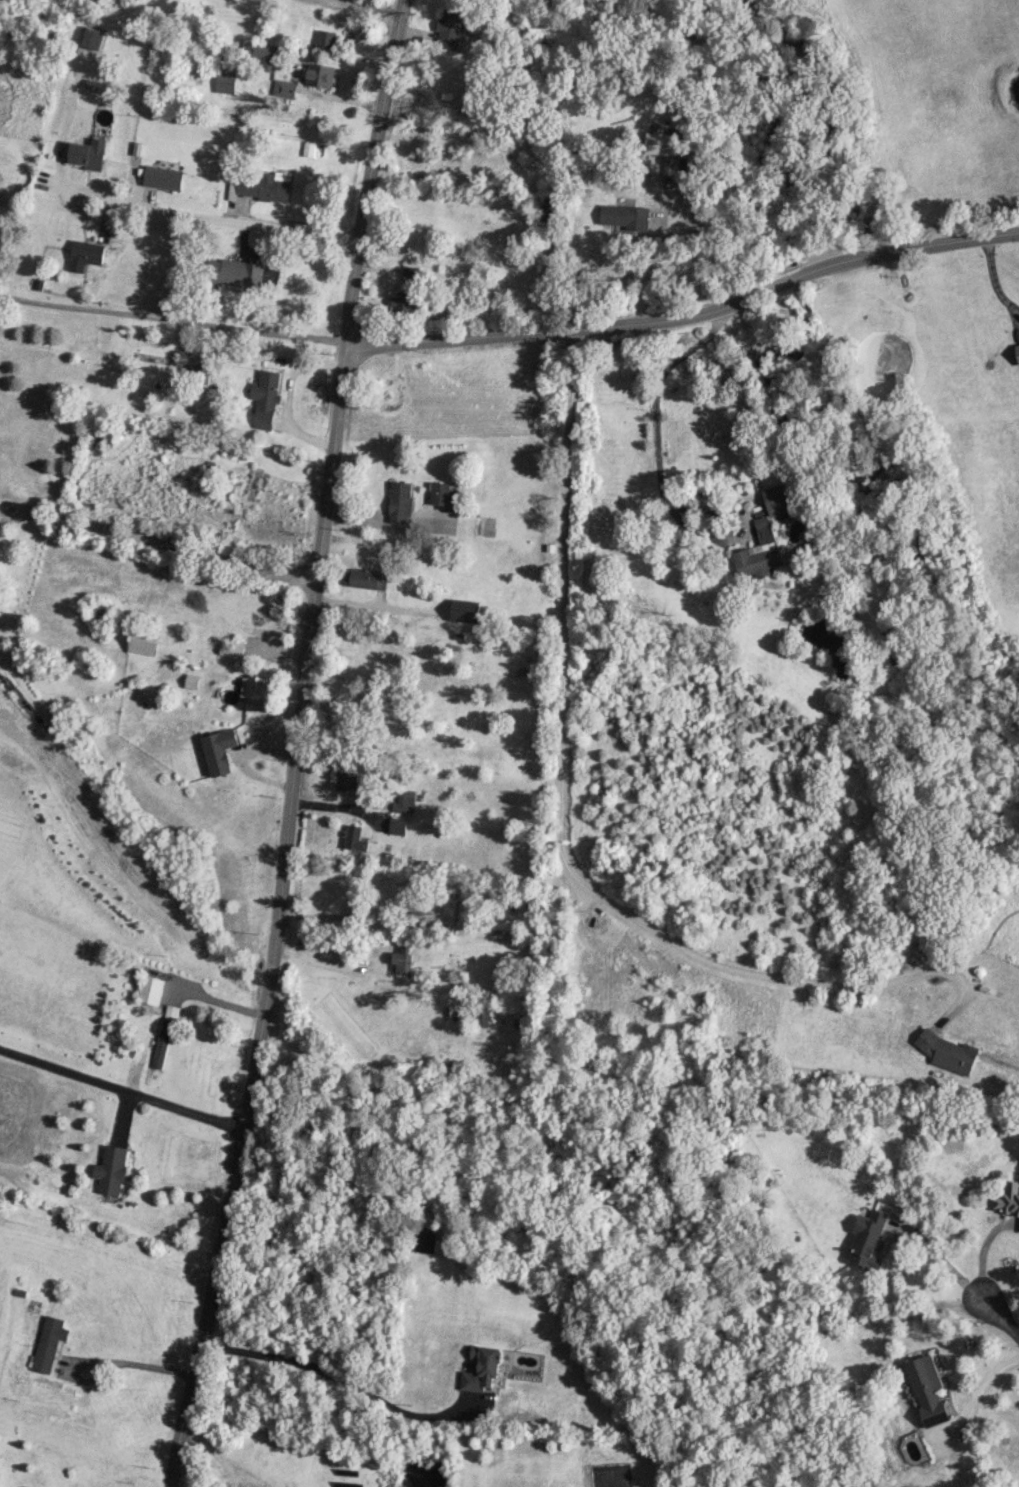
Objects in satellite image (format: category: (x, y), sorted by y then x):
building: (449, 29)
building: (94, 38)
building: (325, 38)
building: (263, 54)
building: (319, 75)
building: (226, 77)
building: (283, 88)
road: (70, 122)
building: (662, 143)
building: (89, 154)
building: (163, 178)
building: (261, 186)
road: (175, 214)
building: (624, 217)
building: (86, 255)
road: (652, 269)
building: (236, 272)
road: (995, 282)
road: (514, 335)
building: (1017, 350)
road: (286, 395)
building: (264, 398)
road: (656, 427)
building: (442, 496)
building: (778, 499)
building: (400, 500)
road: (158, 542)
building: (758, 556)
building: (365, 578)
building: (464, 610)
building: (143, 643)
building: (233, 648)
building: (192, 681)
building: (254, 689)
road: (297, 745)
building: (219, 751)
building: (346, 781)
building: (403, 801)
road: (556, 819)
building: (396, 826)
building: (354, 839)
building: (465, 906)
road: (362, 914)
road: (320, 960)
building: (401, 960)
building: (149, 990)
road: (215, 1000)
building: (162, 1037)
building: (947, 1052)
road: (120, 1087)
building: (110, 1169)
building: (1008, 1199)
building: (865, 1239)
building: (425, 1240)
road: (983, 1254)
road: (946, 1267)
road: (1003, 1322)
building: (48, 1343)
road: (100, 1361)
building: (480, 1369)
road: (338, 1383)
road: (981, 1383)
building: (925, 1389)
road: (216, 1449)

